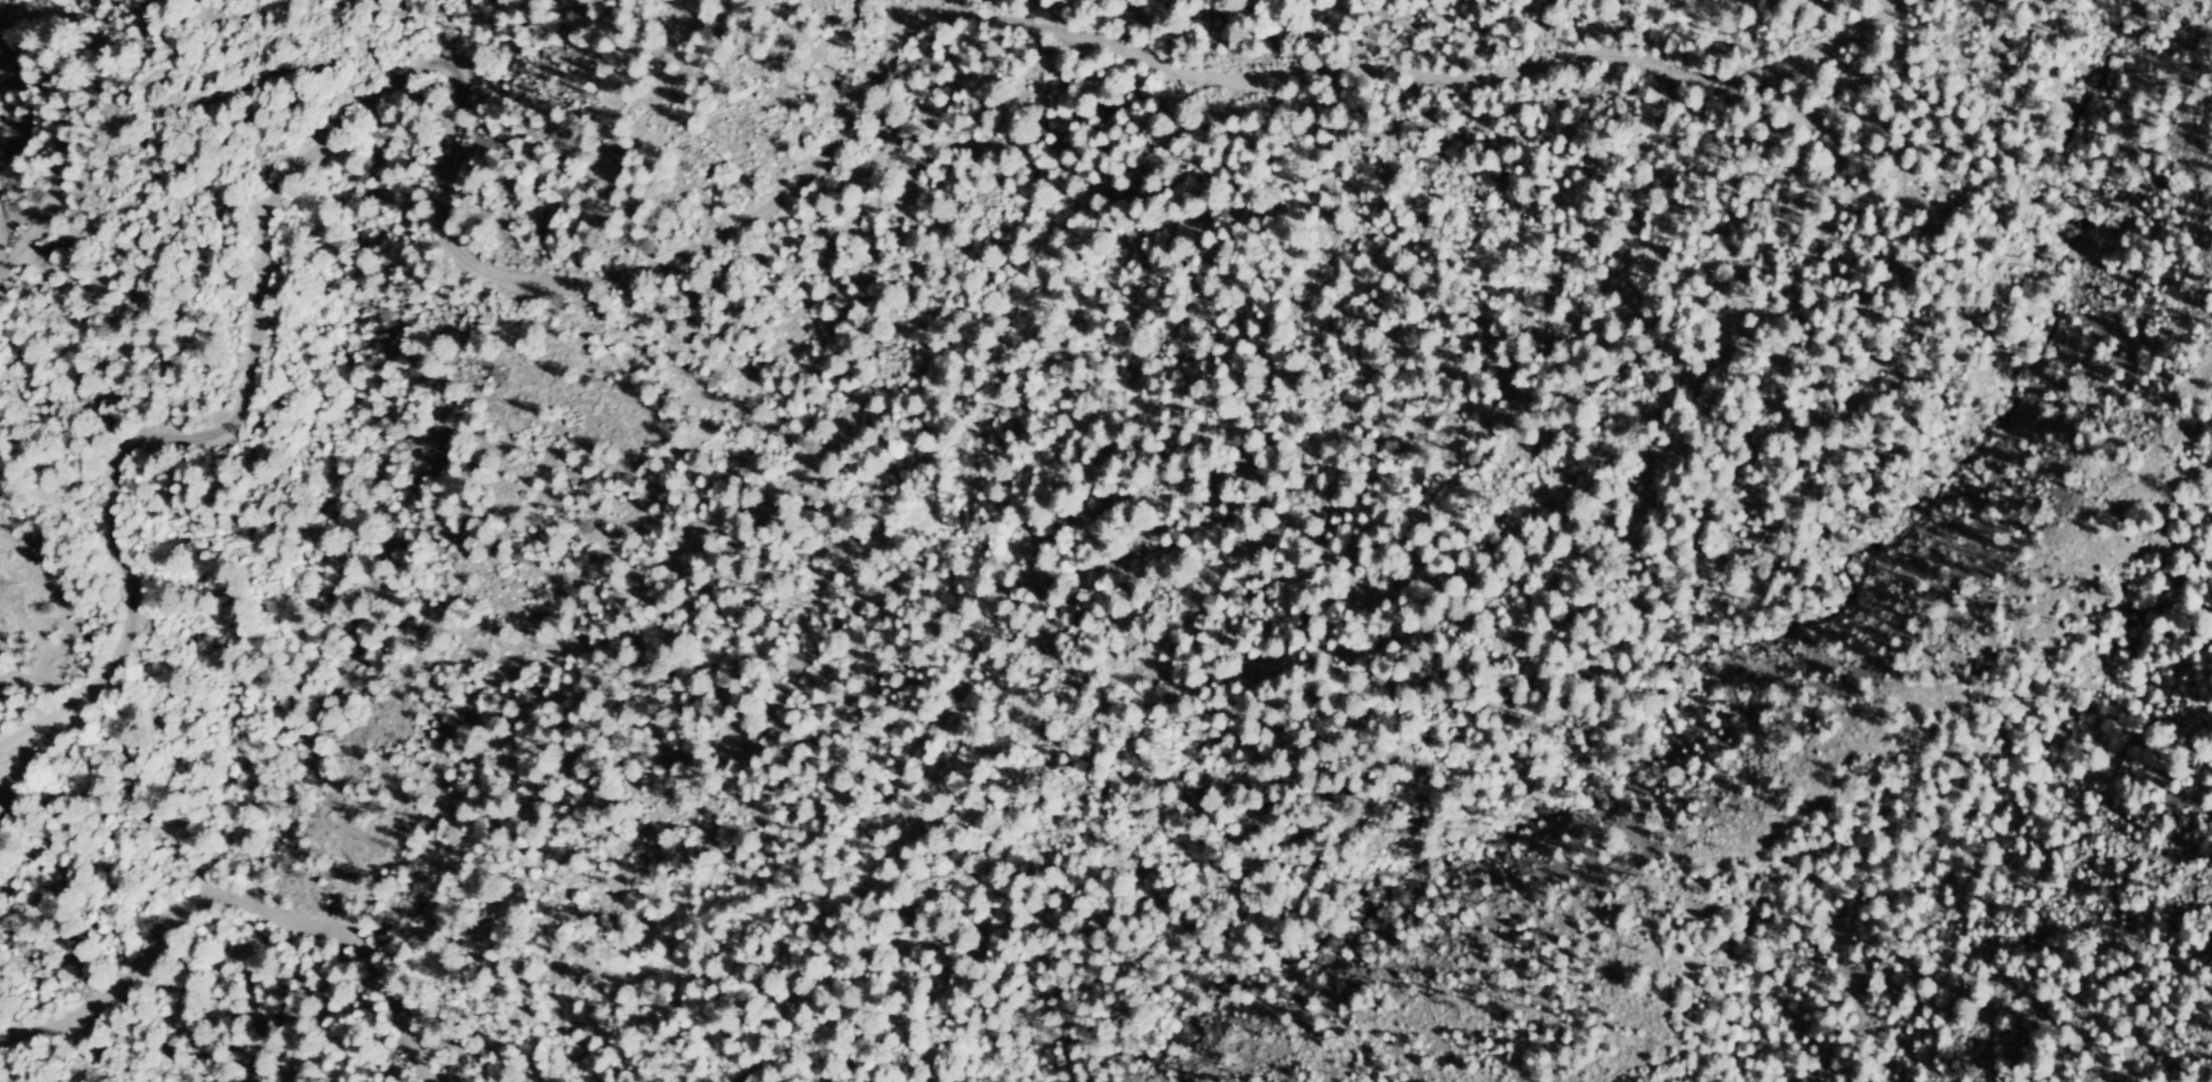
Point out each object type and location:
road: (764, 177)

